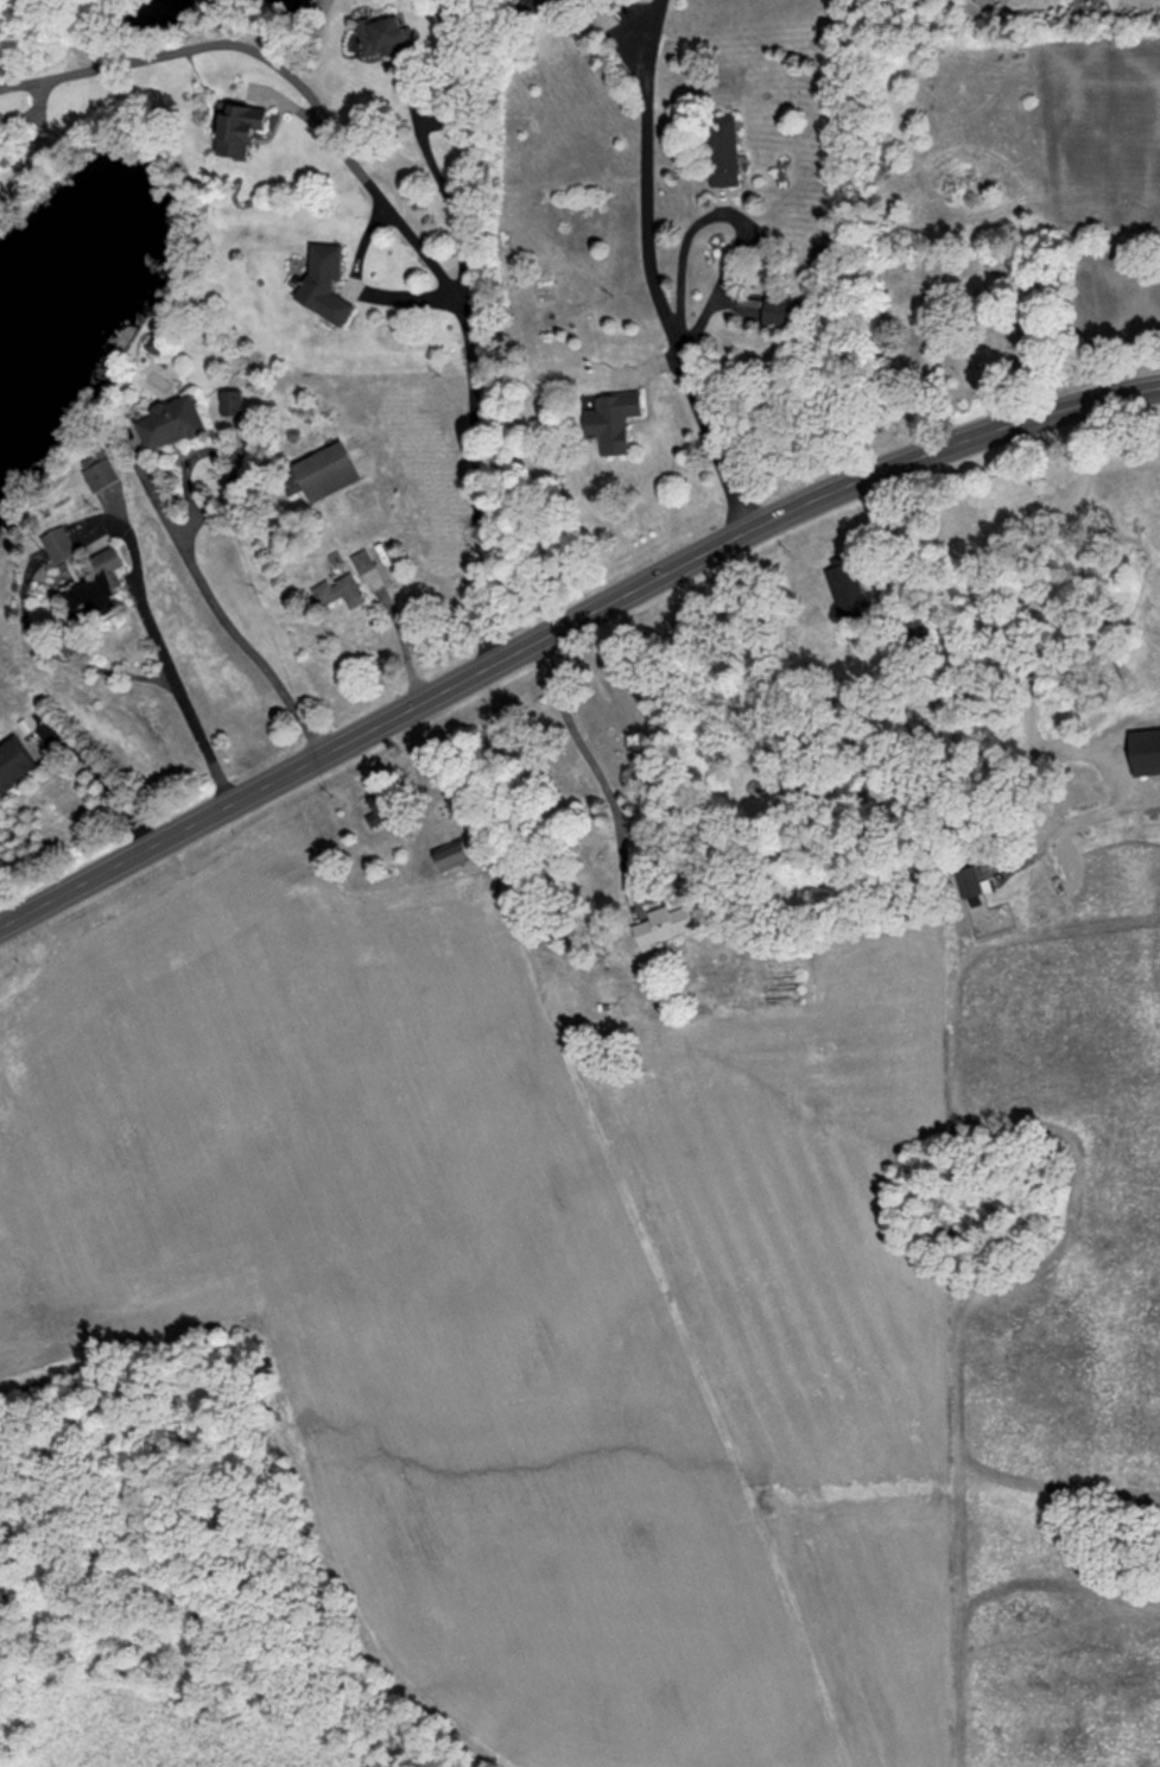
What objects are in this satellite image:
building: (534, 5)
building: (382, 34)
building: (240, 128)
building: (723, 150)
road: (452, 184)
road: (399, 204)
road: (687, 255)
road: (658, 271)
building: (325, 283)
building: (778, 311)
park: (945, 334)
building: (613, 420)
building: (171, 423)
road: (955, 441)
building: (100, 470)
building: (327, 471)
building: (59, 545)
building: (107, 562)
building: (363, 562)
building: (848, 590)
building: (341, 591)
road: (629, 593)
building: (83, 596)
road: (232, 614)
road: (402, 635)
road: (165, 655)
building: (14, 765)
road: (107, 793)
road: (249, 794)
building: (382, 810)
road: (632, 821)
building: (452, 856)
building: (969, 882)
building: (665, 925)
crop: (405, 1292)

